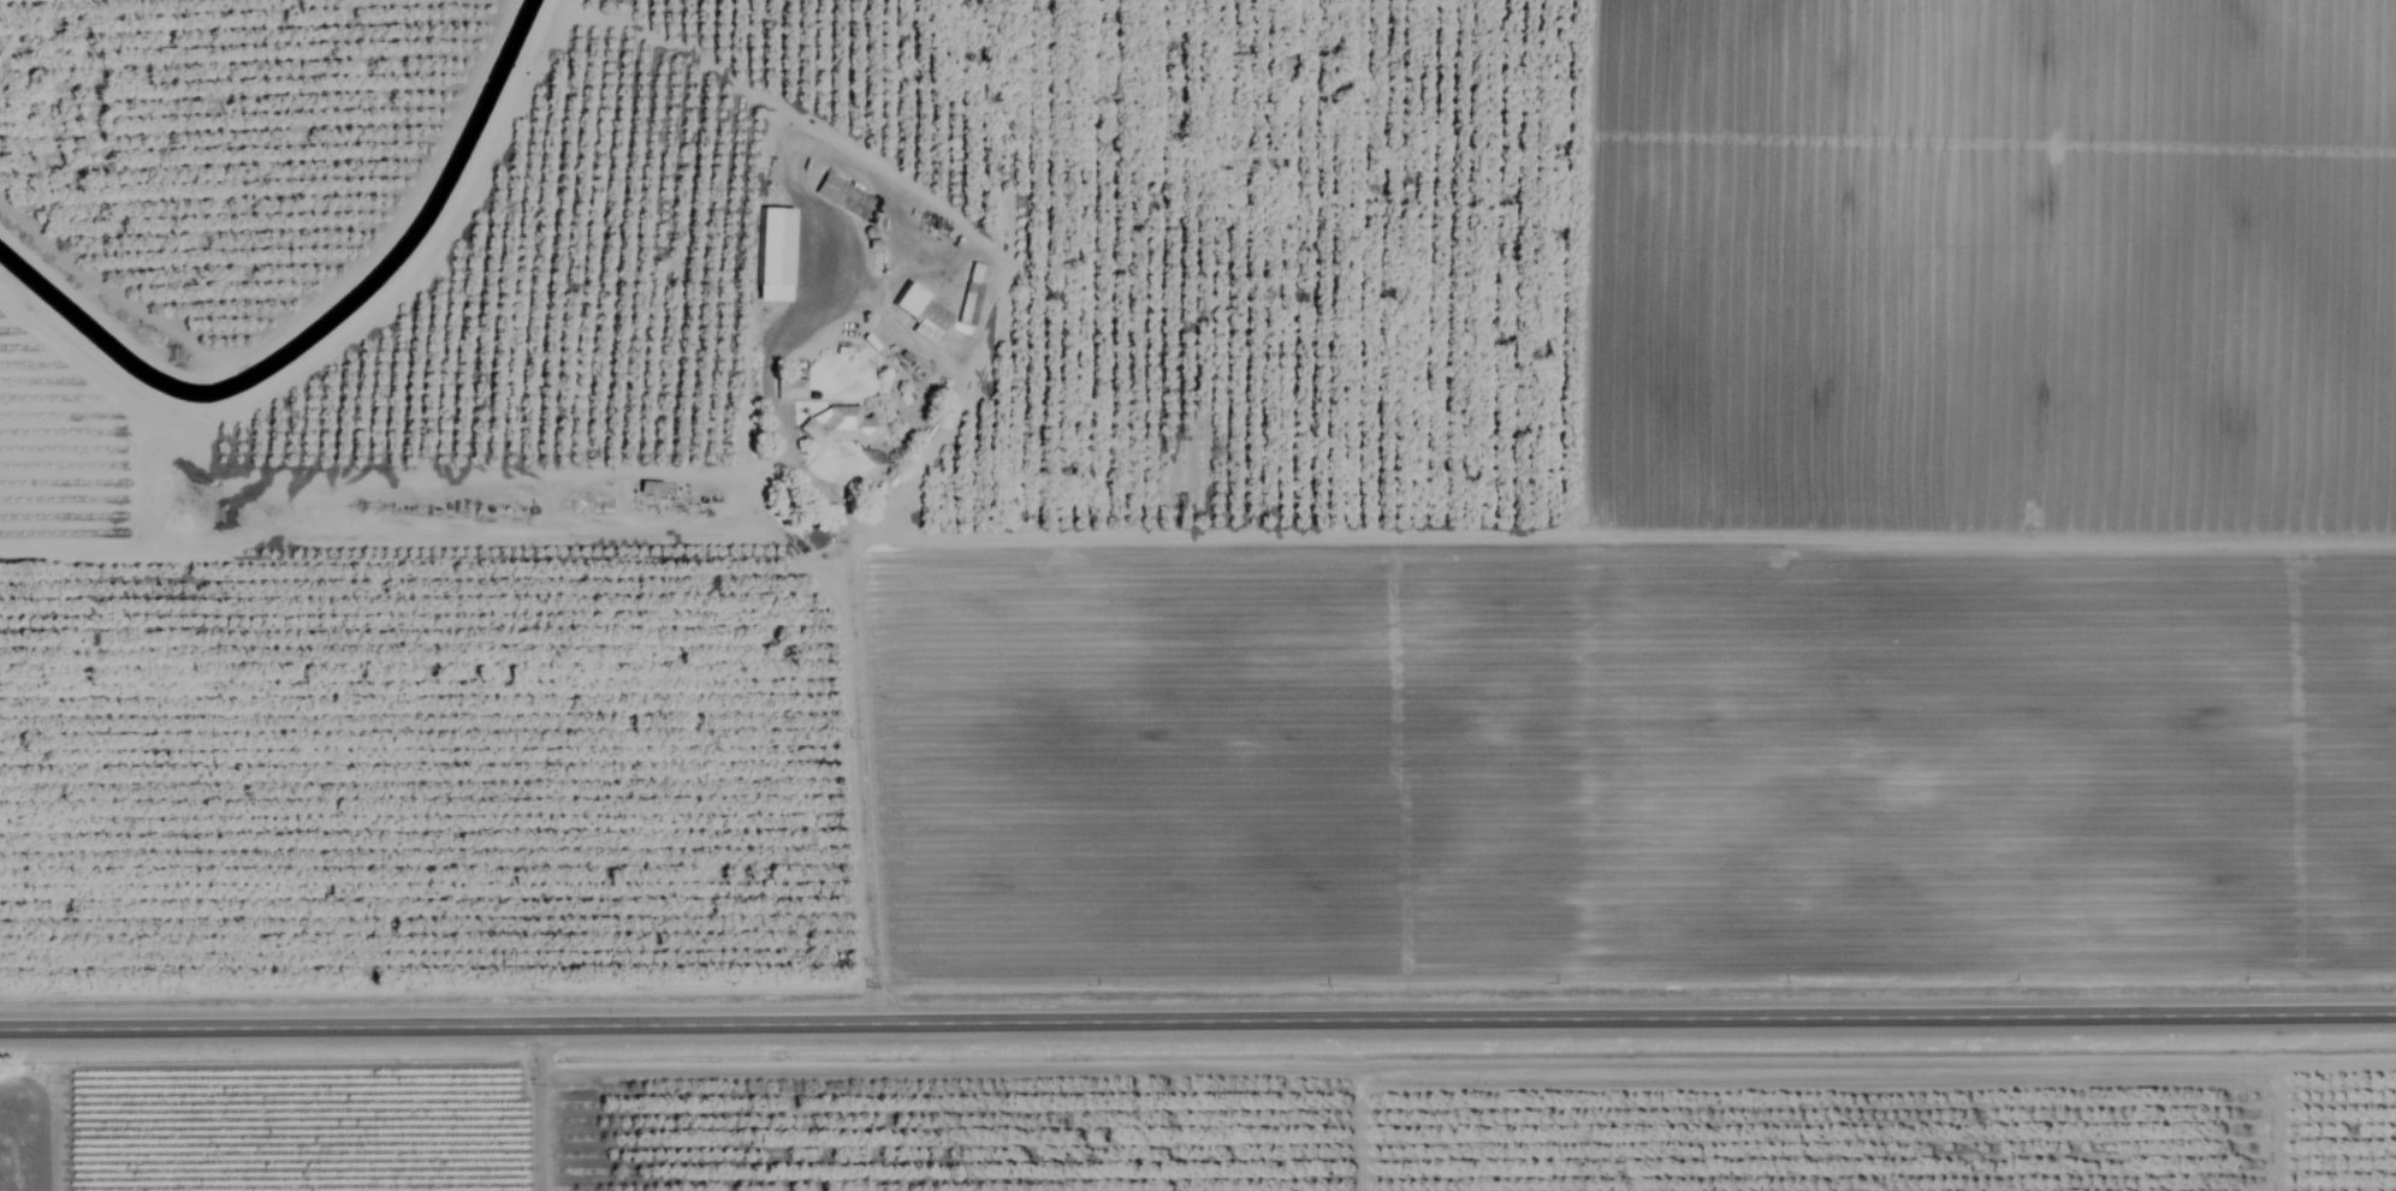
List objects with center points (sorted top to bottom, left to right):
building: (843, 193)
building: (775, 252)
building: (971, 291)
building: (790, 386)
building: (842, 424)
crop: (1191, 493)
road: (1425, 535)
road: (861, 806)
road: (1198, 1022)
crop: (1239, 1127)

